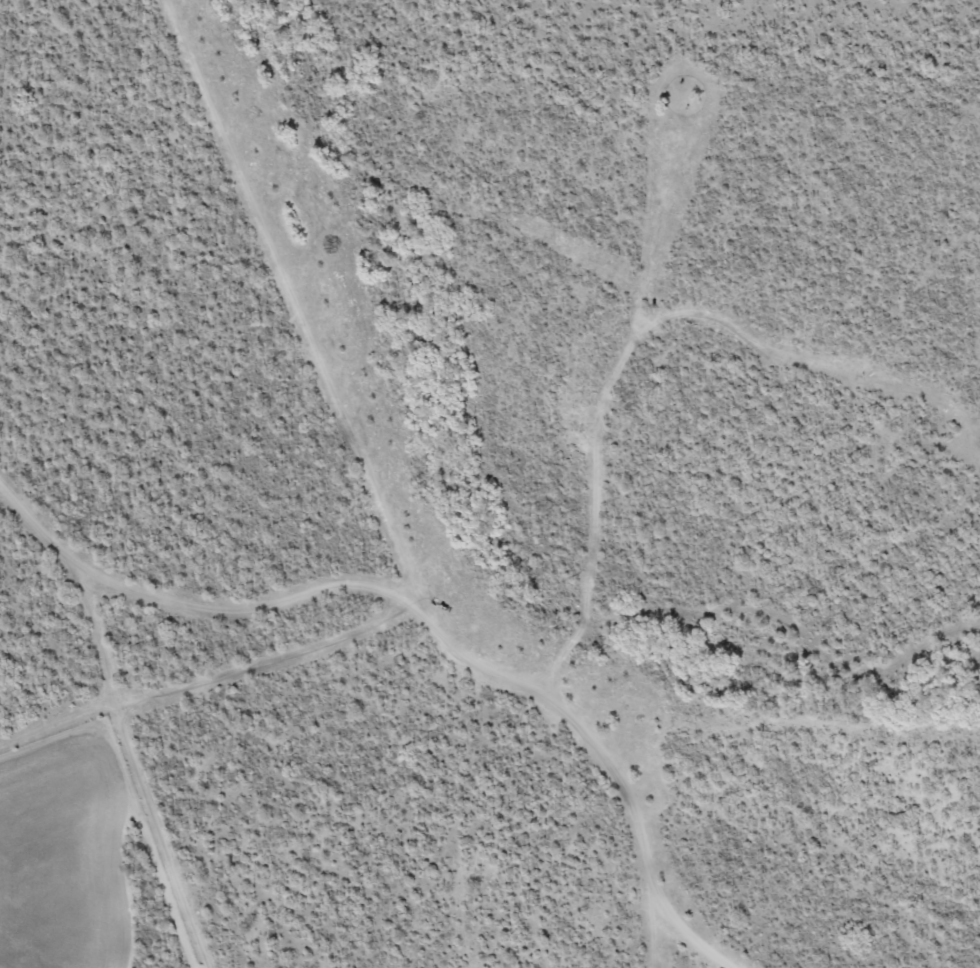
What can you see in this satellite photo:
road: (451, 630)

